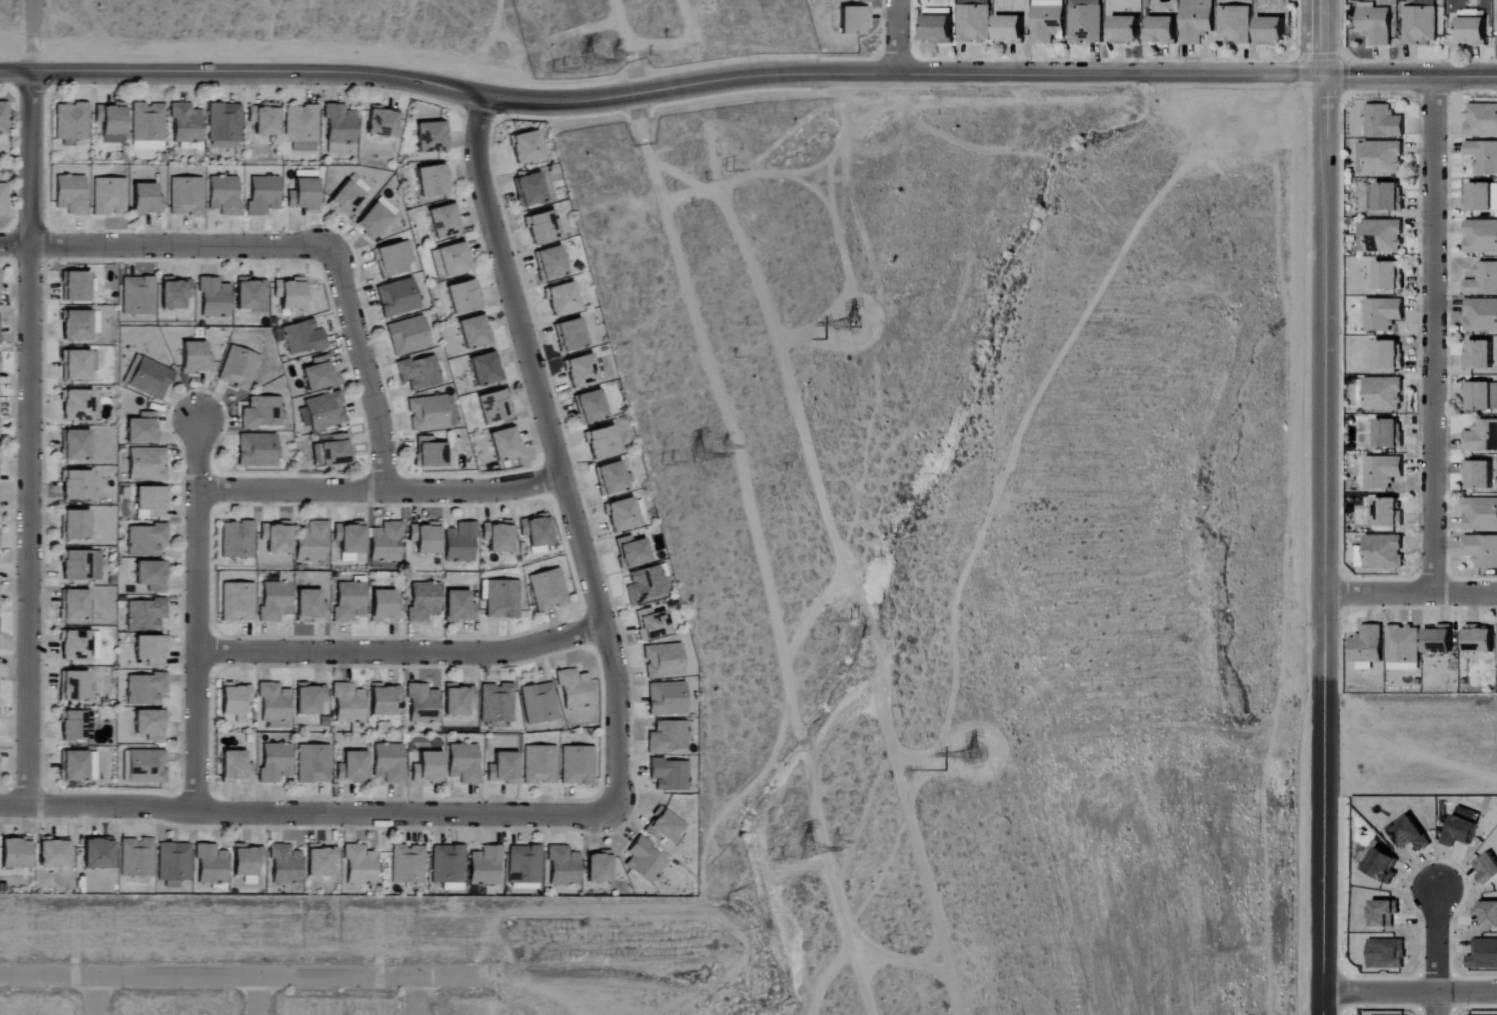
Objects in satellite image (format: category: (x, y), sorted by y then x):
building: (939, 13)
building: (975, 21)
building: (1049, 21)
building: (1197, 21)
building: (853, 22)
building: (1086, 22)
building: (1421, 23)
building: (1235, 25)
building: (1376, 25)
building: (1473, 29)
building: (940, 30)
building: (1011, 30)
building: (1127, 30)
building: (1164, 31)
building: (1272, 31)
road: (31, 36)
road: (896, 36)
road: (1322, 38)
power tower: (611, 44)
power tower: (581, 52)
power tower: (565, 59)
road: (746, 78)
building: (3, 118)
building: (264, 119)
building: (1482, 120)
building: (1384, 121)
building: (71, 122)
building: (111, 122)
building: (224, 122)
building: (382, 122)
building: (186, 124)
building: (147, 126)
building: (301, 127)
building: (340, 130)
building: (431, 136)
building: (526, 146)
building: (1483, 155)
building: (1381, 157)
power tower: (727, 177)
building: (432, 180)
building: (529, 189)
building: (70, 194)
building: (303, 194)
building: (223, 195)
building: (262, 195)
building: (108, 196)
building: (185, 196)
building: (1386, 196)
building: (2, 197)
building: (1481, 197)
building: (145, 199)
building: (345, 200)
building: (374, 218)
building: (444, 220)
building: (541, 227)
building: (1481, 236)
road: (166, 246)
building: (392, 258)
building: (450, 259)
building: (550, 262)
building: (1390, 275)
building: (1483, 279)
building: (75, 285)
building: (174, 292)
building: (290, 293)
building: (252, 294)
building: (138, 296)
building: (463, 296)
building: (214, 297)
building: (397, 297)
building: (562, 298)
building: (1384, 313)
building: (1481, 316)
building: (95, 321)
building: (75, 324)
power tower: (852, 329)
building: (474, 331)
building: (570, 334)
building: (407, 335)
road: (1432, 335)
building: (303, 337)
building: (1390, 354)
building: (1480, 354)
building: (194, 357)
building: (75, 364)
building: (237, 367)
road: (363, 368)
building: (485, 368)
building: (581, 371)
building: (418, 372)
building: (318, 373)
building: (149, 379)
building: (1384, 394)
building: (1481, 396)
building: (76, 405)
building: (494, 406)
building: (590, 406)
building: (322, 411)
building: (261, 412)
building: (427, 412)
building: (141, 428)
building: (1390, 433)
building: (1482, 436)
road: (27, 438)
building: (602, 442)
power tower: (682, 442)
building: (505, 443)
building: (75, 445)
power tower: (722, 445)
power tower: (665, 447)
building: (256, 450)
building: (332, 451)
building: (430, 452)
road: (554, 457)
building: (146, 464)
building: (1383, 471)
building: (1480, 474)
building: (611, 478)
building: (76, 485)
road: (378, 490)
building: (150, 502)
building: (1390, 511)
building: (622, 514)
building: (1481, 514)
building: (74, 525)
building: (536, 533)
building: (498, 536)
building: (276, 538)
building: (425, 538)
building: (145, 539)
building: (237, 540)
building: (311, 541)
building: (385, 542)
building: (460, 542)
road: (1323, 546)
building: (1482, 550)
building: (631, 551)
building: (1385, 551)
building: (80, 565)
building: (151, 575)
building: (645, 584)
building: (547, 590)
road: (1410, 594)
building: (275, 599)
building: (502, 599)
building: (423, 601)
building: (237, 602)
building: (348, 602)
building: (76, 604)
building: (307, 605)
building: (384, 606)
building: (458, 606)
building: (145, 614)
road: (195, 614)
power tower: (854, 617)
building: (651, 624)
building: (1480, 639)
building: (1440, 641)
building: (78, 645)
building: (1367, 647)
building: (1404, 648)
building: (150, 649)
road: (400, 652)
building: (663, 660)
building: (73, 686)
building: (145, 689)
building: (574, 689)
building: (234, 698)
building: (383, 699)
building: (458, 699)
building: (667, 699)
building: (311, 700)
building: (274, 702)
building: (496, 702)
building: (348, 703)
building: (422, 703)
building: (538, 703)
building: (149, 725)
building: (75, 726)
building: (668, 737)
power tower: (973, 760)
building: (274, 763)
building: (389, 763)
building: (463, 763)
building: (312, 764)
building: (539, 765)
building: (576, 765)
building: (77, 766)
building: (144, 767)
building: (234, 767)
building: (352, 767)
building: (428, 768)
building: (503, 768)
building: (669, 774)
road: (304, 812)
building: (664, 826)
building: (1462, 832)
building: (1412, 834)
power tower: (815, 842)
power tower: (795, 850)
building: (15, 853)
building: (53, 853)
building: (98, 853)
power tower: (780, 857)
building: (136, 858)
building: (247, 860)
building: (320, 860)
building: (645, 861)
building: (173, 864)
building: (285, 864)
building: (408, 864)
building: (211, 865)
building: (360, 866)
building: (486, 866)
building: (524, 866)
building: (564, 866)
building: (1383, 866)
building: (449, 867)
building: (599, 867)
building: (1488, 869)
building: (1384, 913)
building: (1488, 913)
road: (1439, 953)
building: (1387, 954)
building: (1484, 954)
road: (246, 977)
road: (1409, 991)
road: (97, 996)
road: (259, 996)
road: (415, 996)

